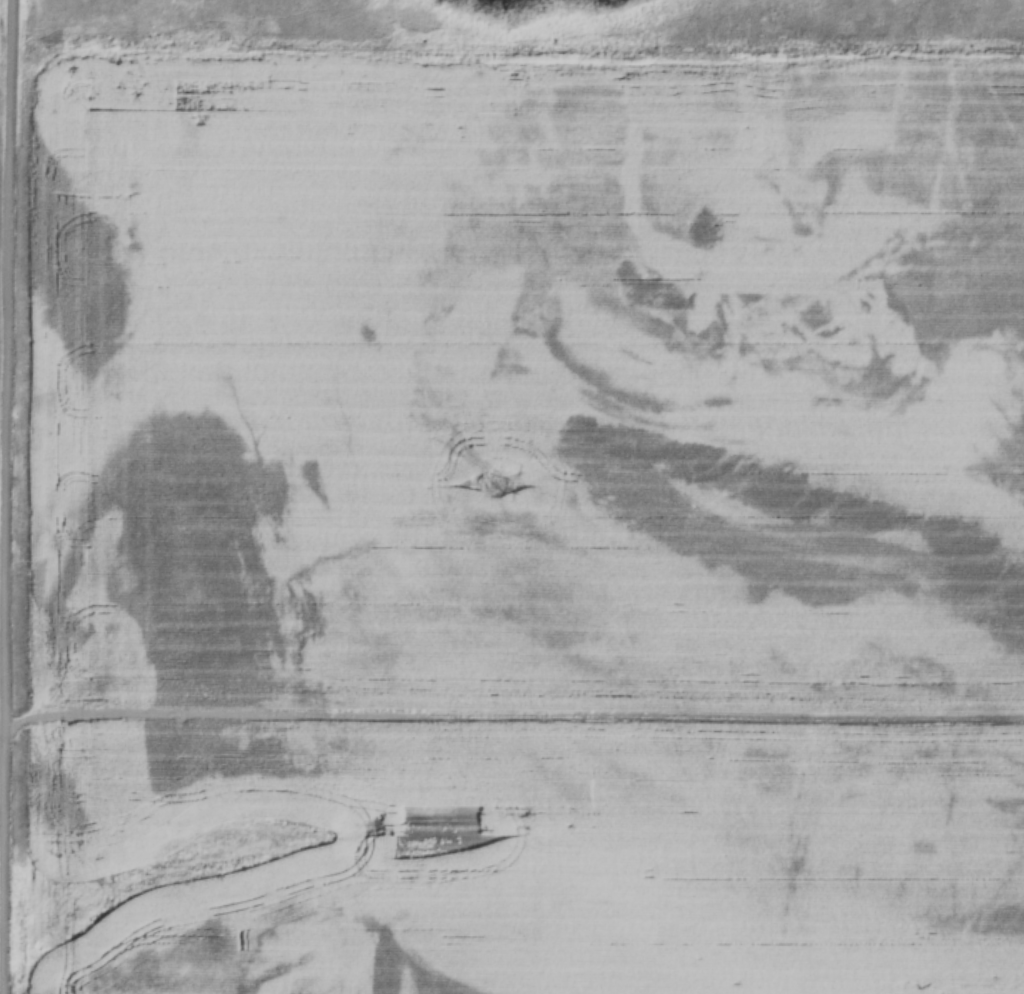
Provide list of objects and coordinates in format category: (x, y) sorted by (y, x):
power tower: (489, 473)
road: (12, 497)

